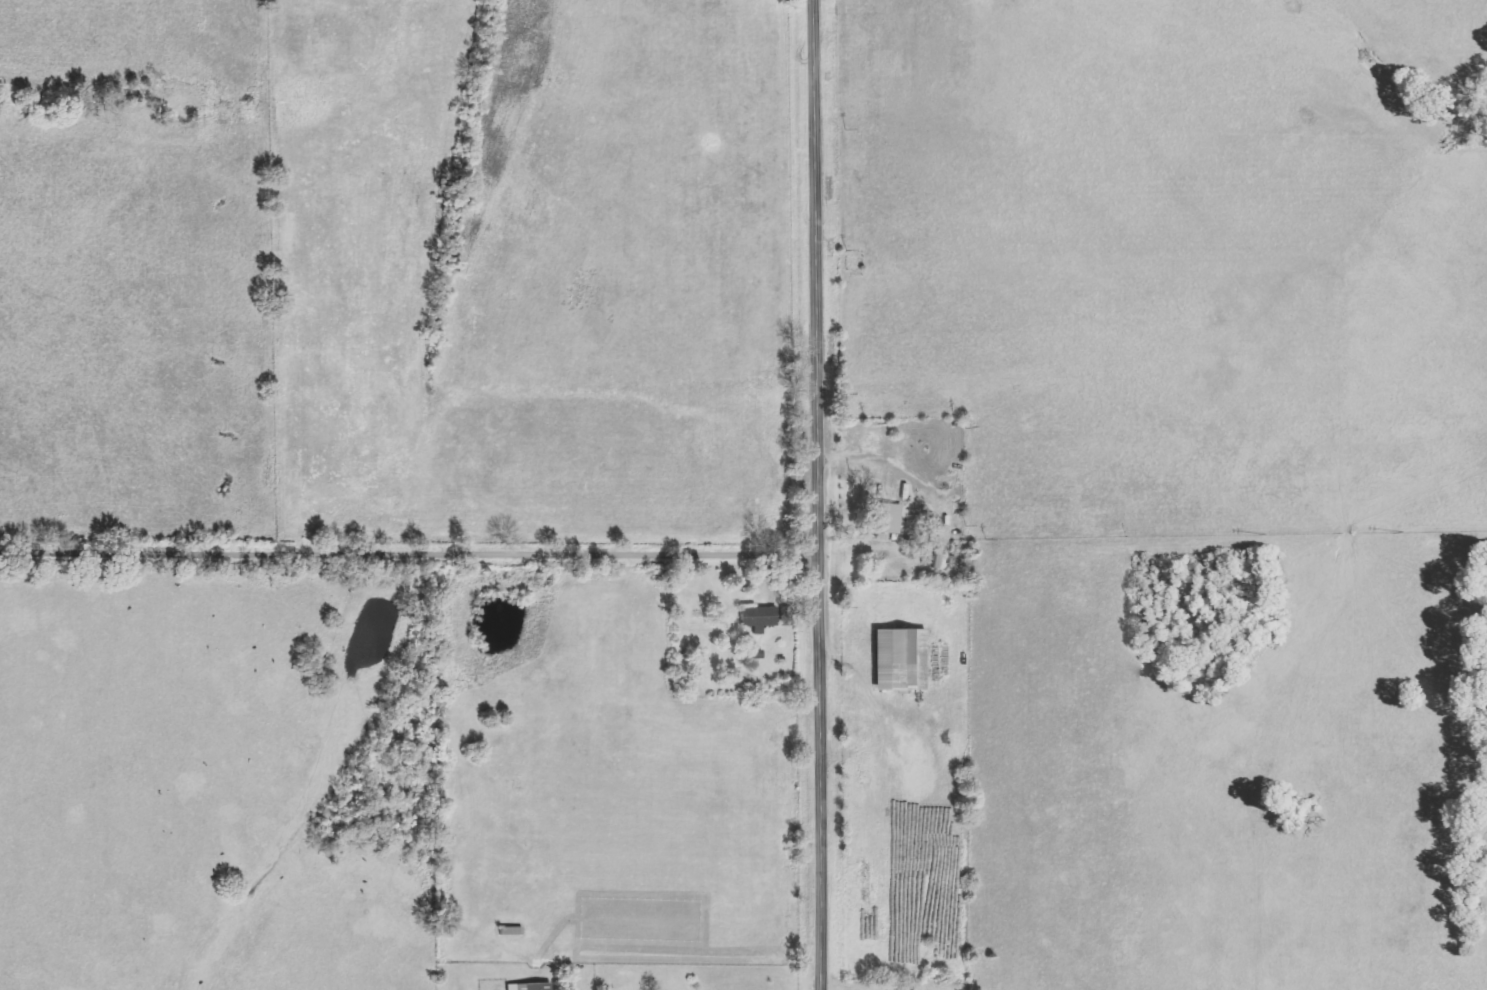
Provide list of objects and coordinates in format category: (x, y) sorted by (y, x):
road: (816, 495)
building: (893, 519)
road: (408, 554)
building: (761, 618)
building: (901, 659)
building: (531, 986)

